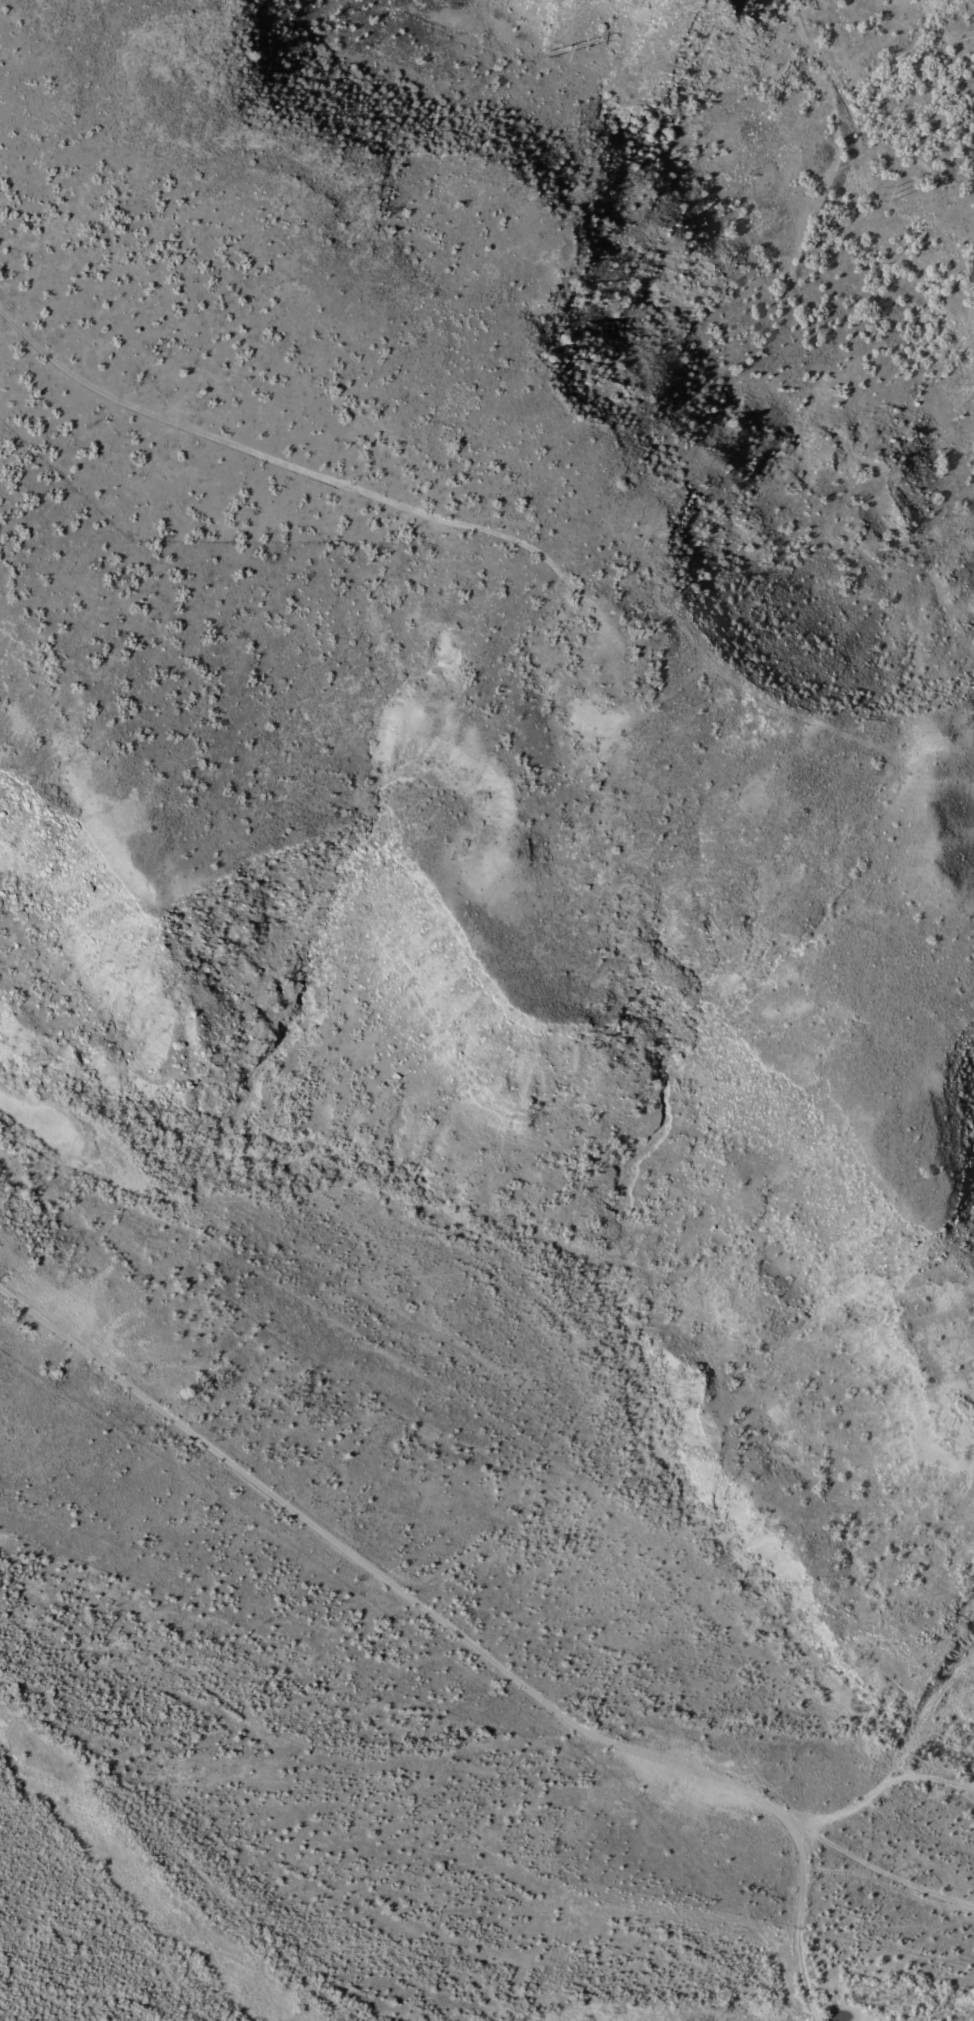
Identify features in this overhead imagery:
power tower: (549, 54)
power tower: (891, 197)
river: (134, 1871)

